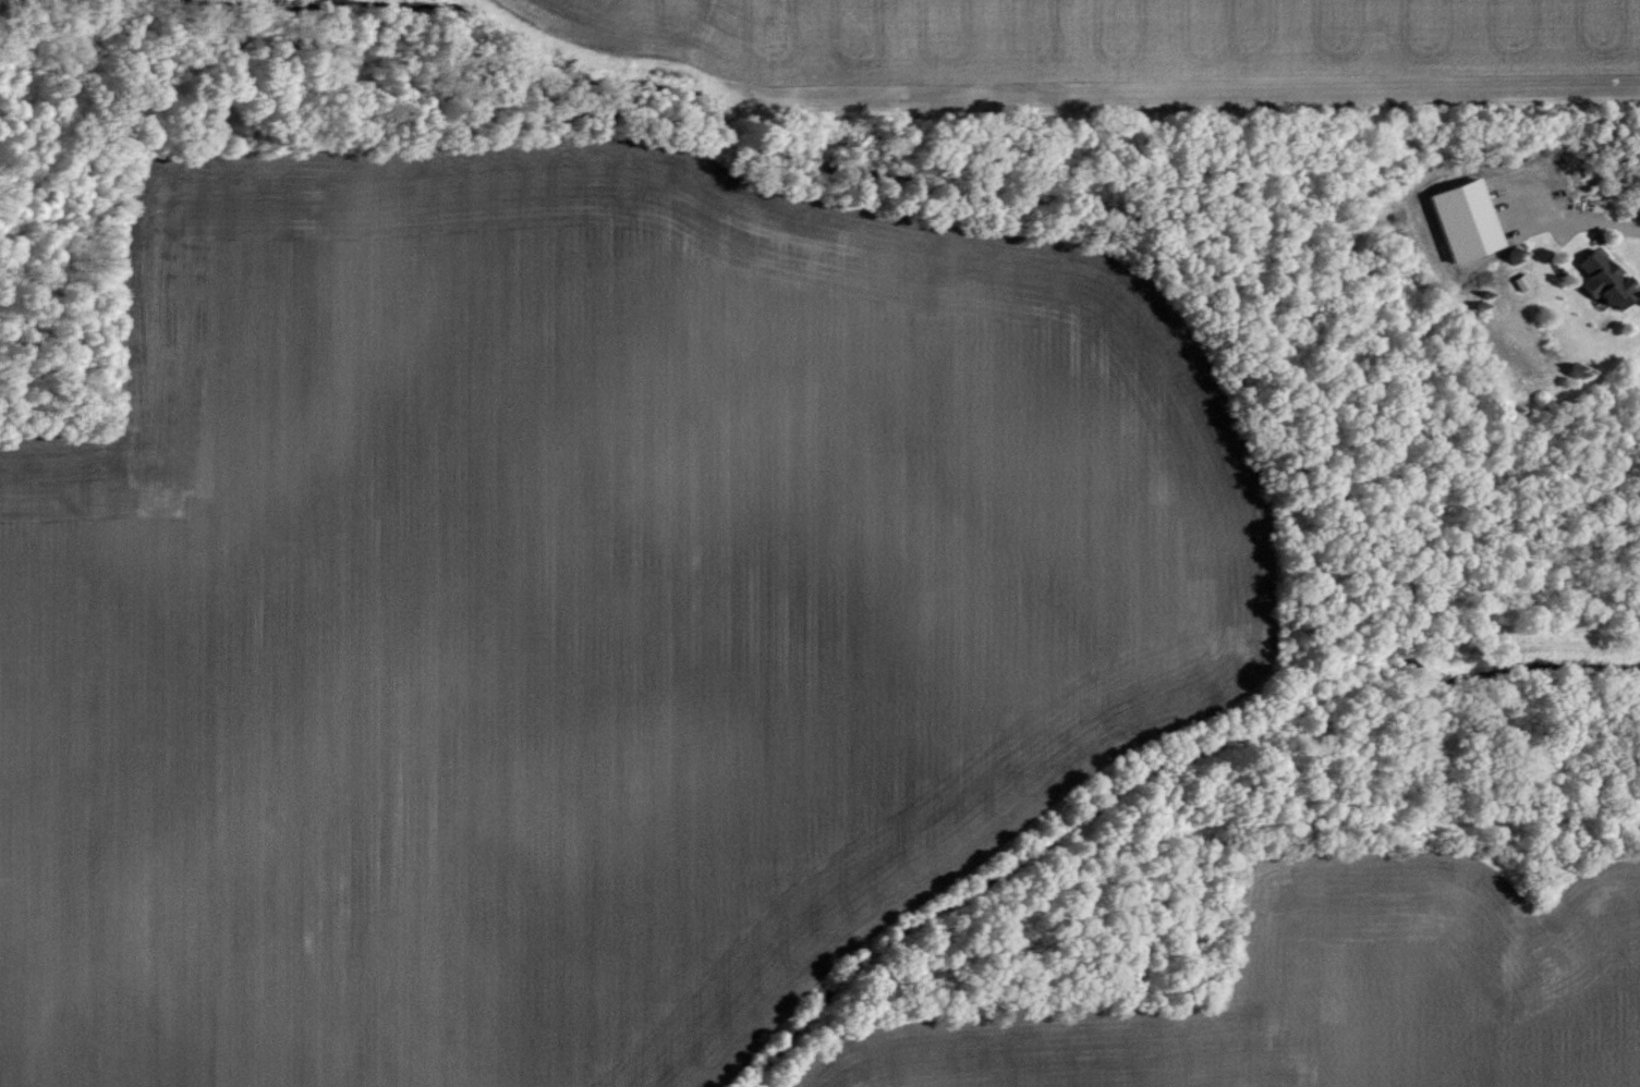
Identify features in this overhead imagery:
building: (1467, 221)
road: (1614, 225)
building: (1606, 280)
building: (1522, 281)

